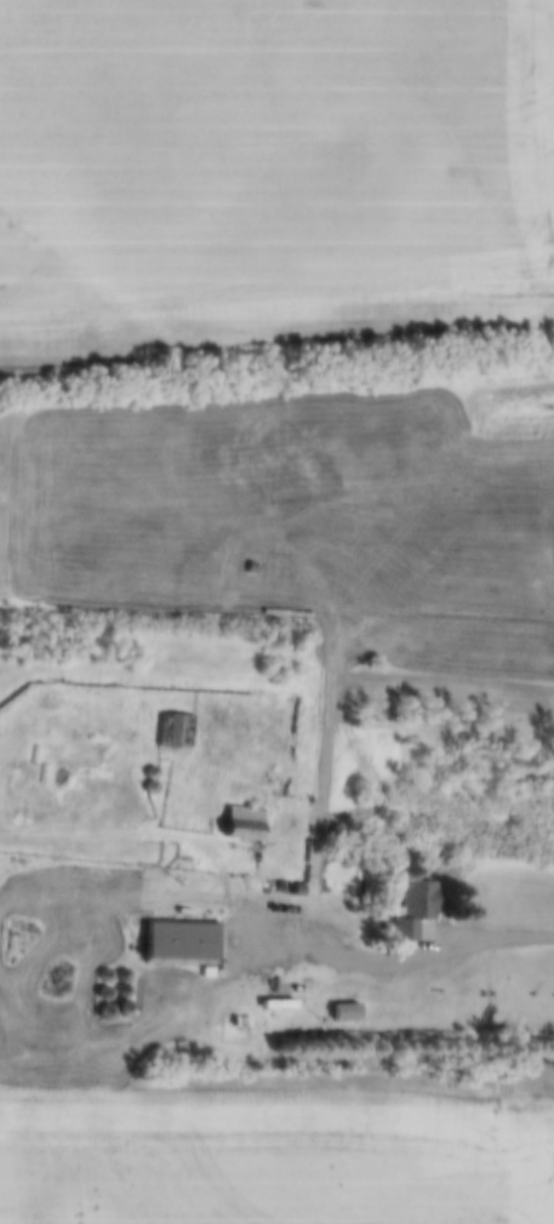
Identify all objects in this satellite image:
building: (39, 761)
building: (246, 820)
building: (415, 905)
building: (182, 938)
road: (394, 953)
building: (347, 1008)

